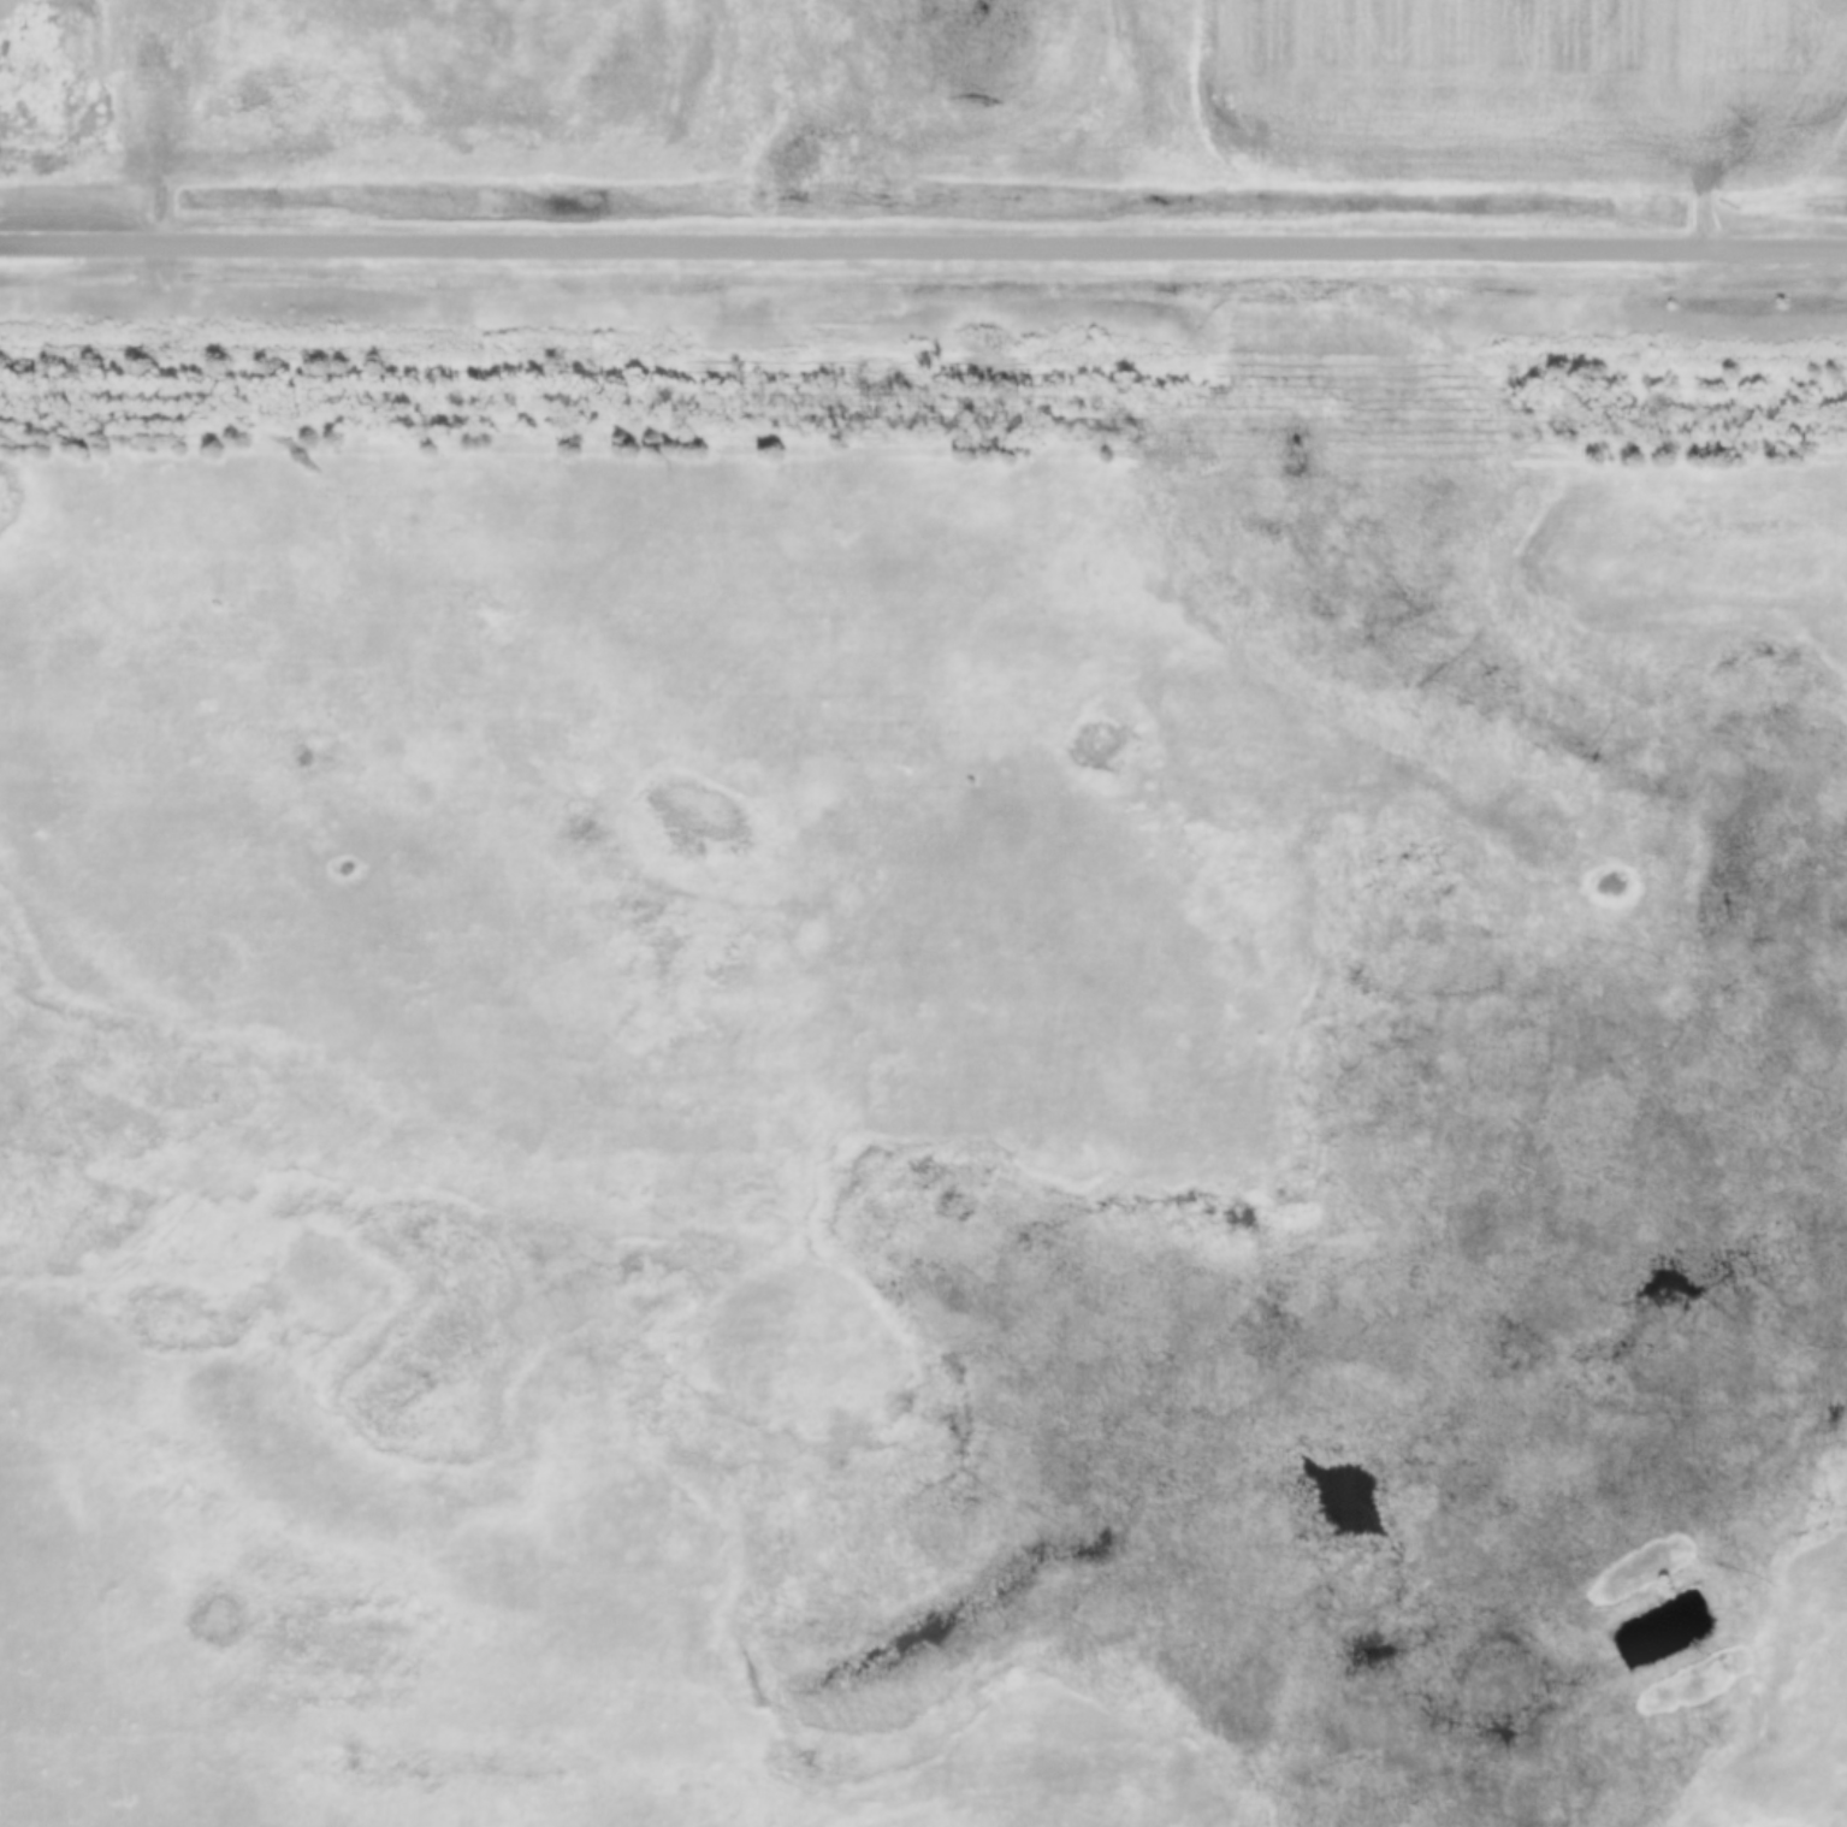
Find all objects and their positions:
road: (923, 247)

